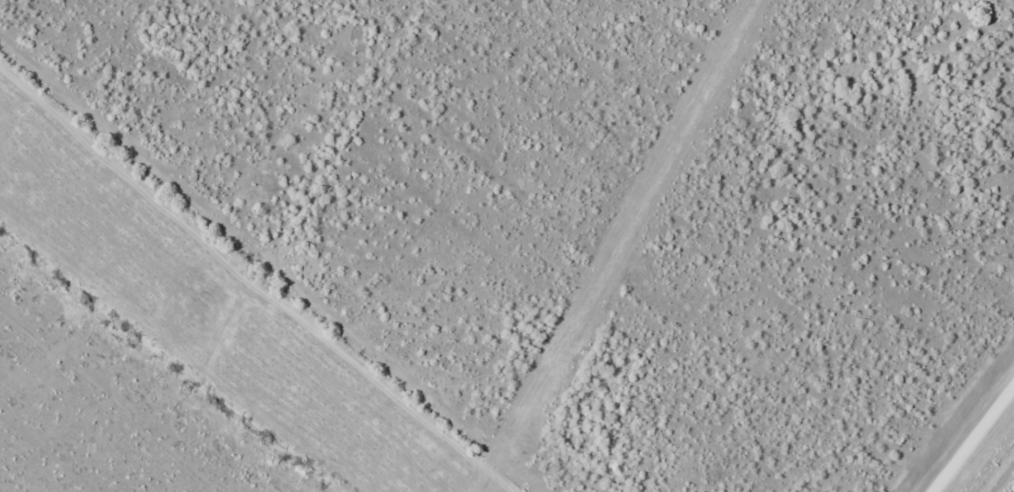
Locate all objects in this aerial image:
road: (264, 277)

